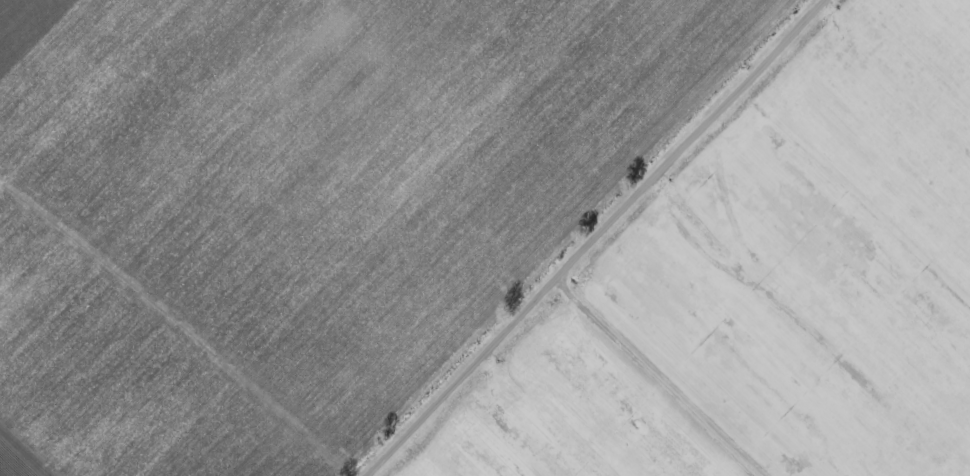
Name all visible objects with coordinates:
road: (584, 238)

